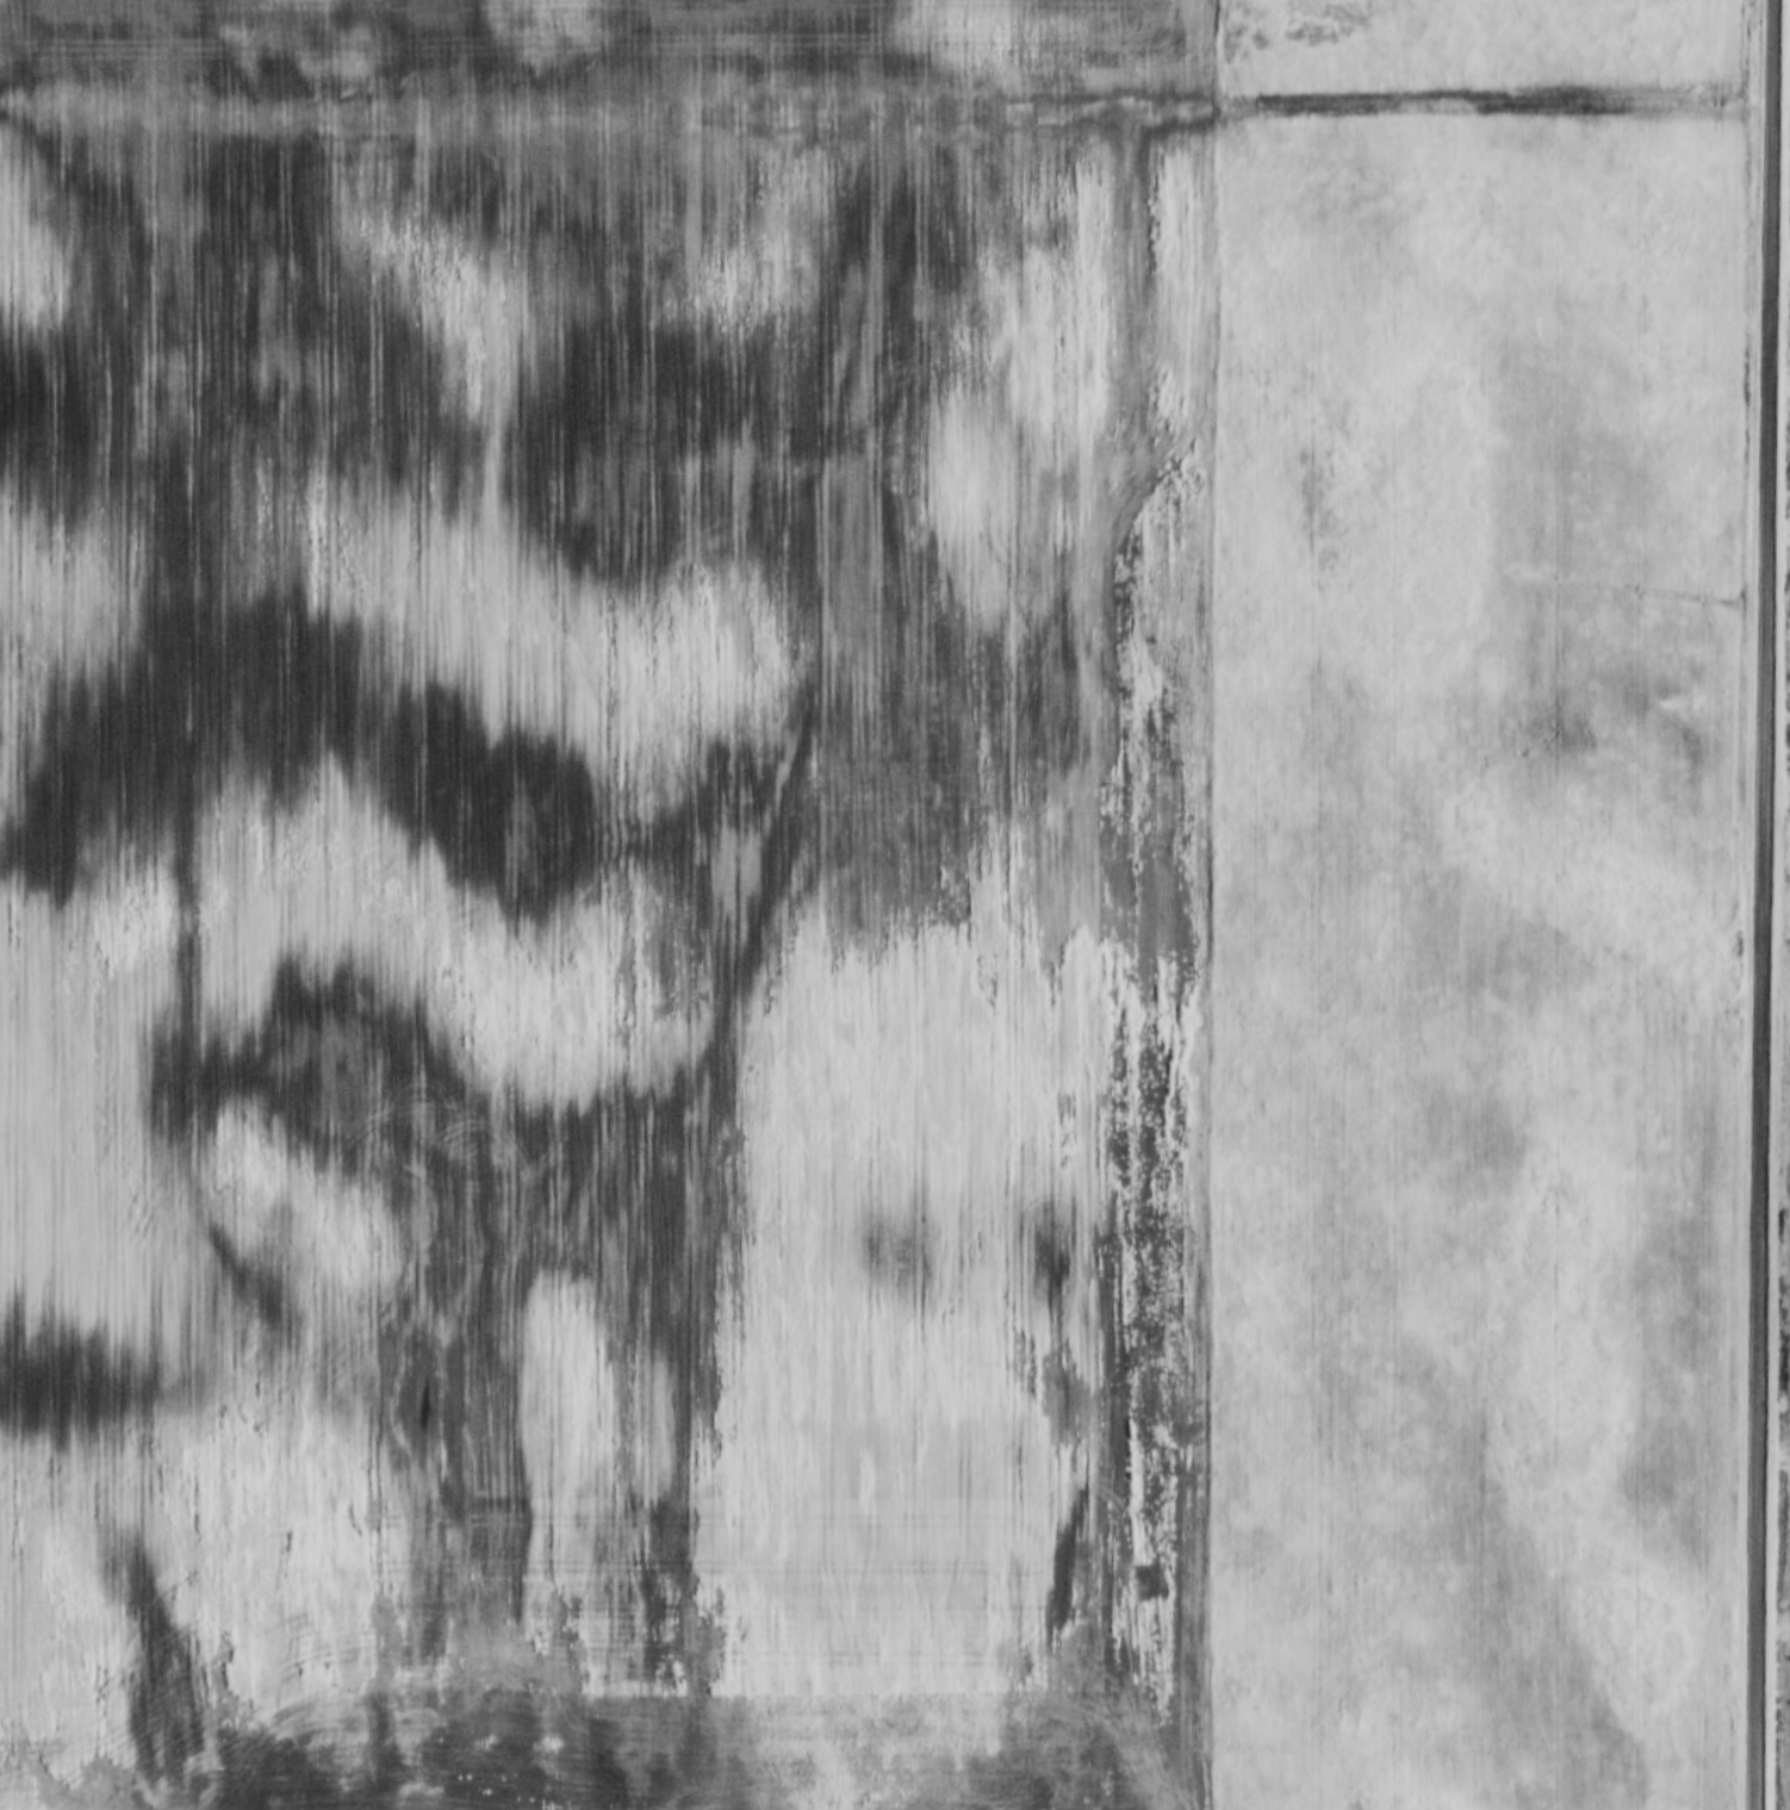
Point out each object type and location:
road: (1764, 904)

